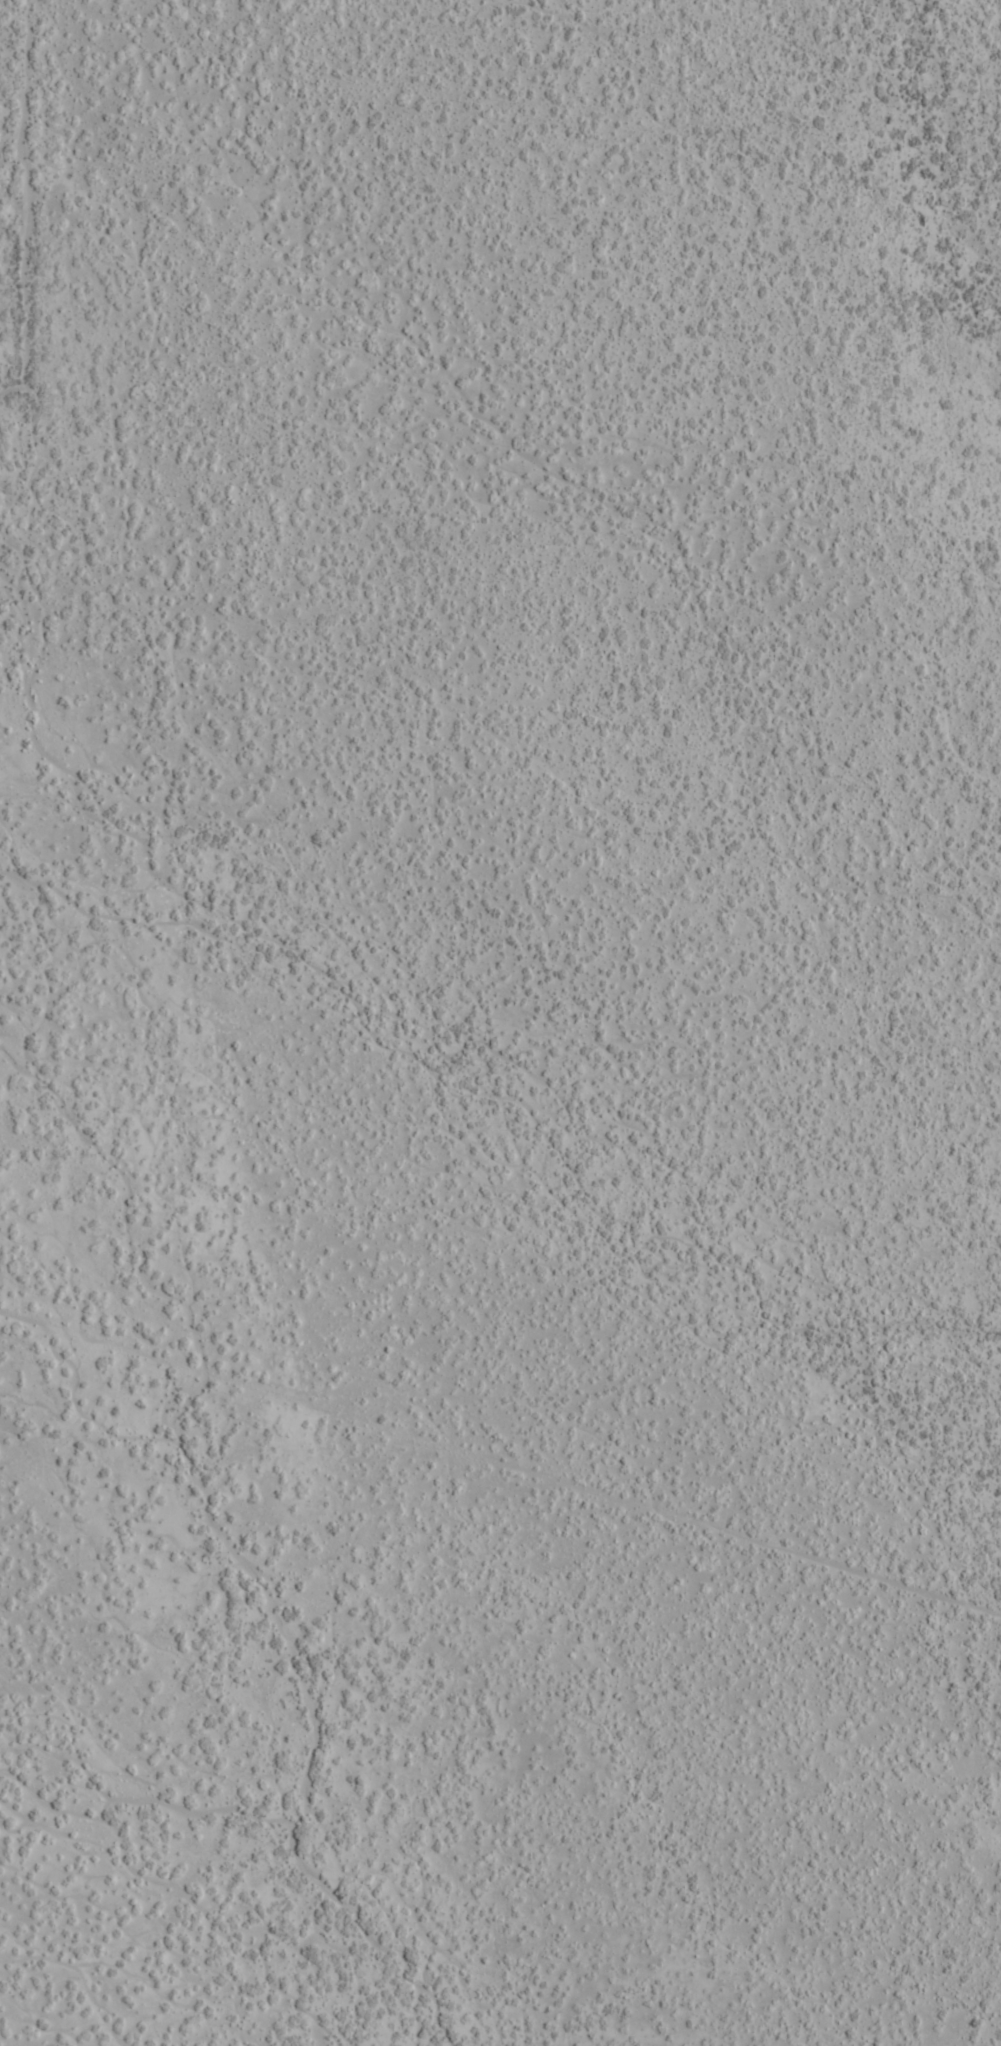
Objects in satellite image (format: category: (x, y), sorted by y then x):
road: (500, 1460)

